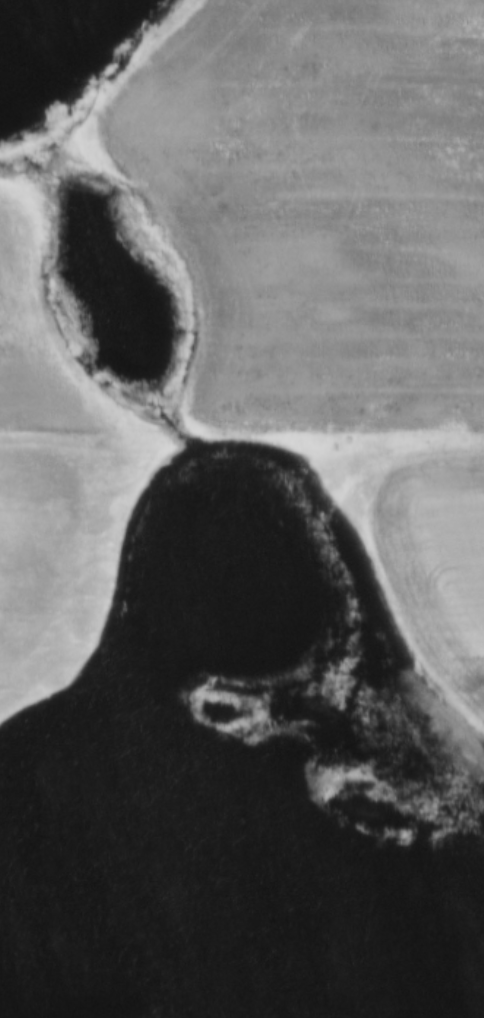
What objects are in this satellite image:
road: (109, 81)

